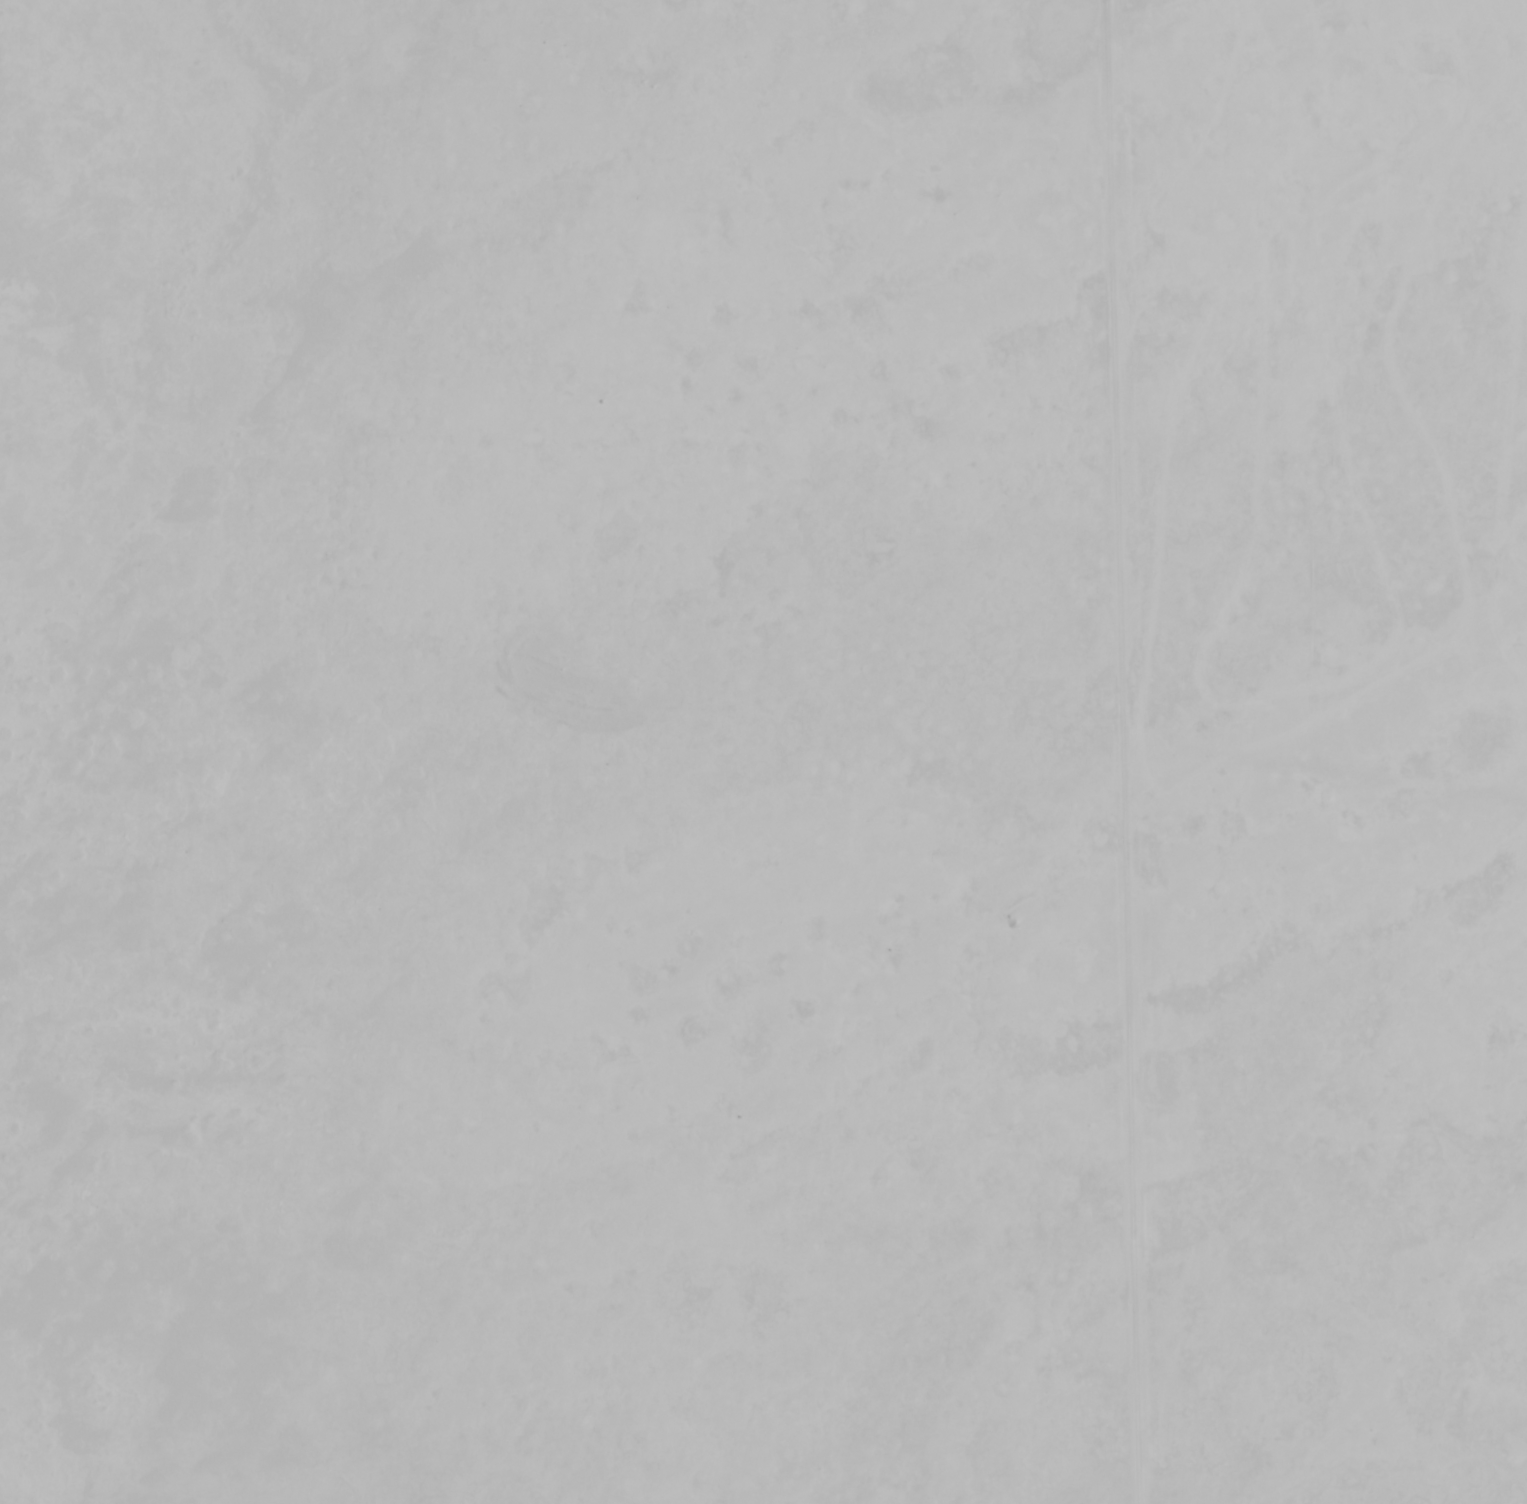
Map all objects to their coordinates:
road: (1128, 752)

